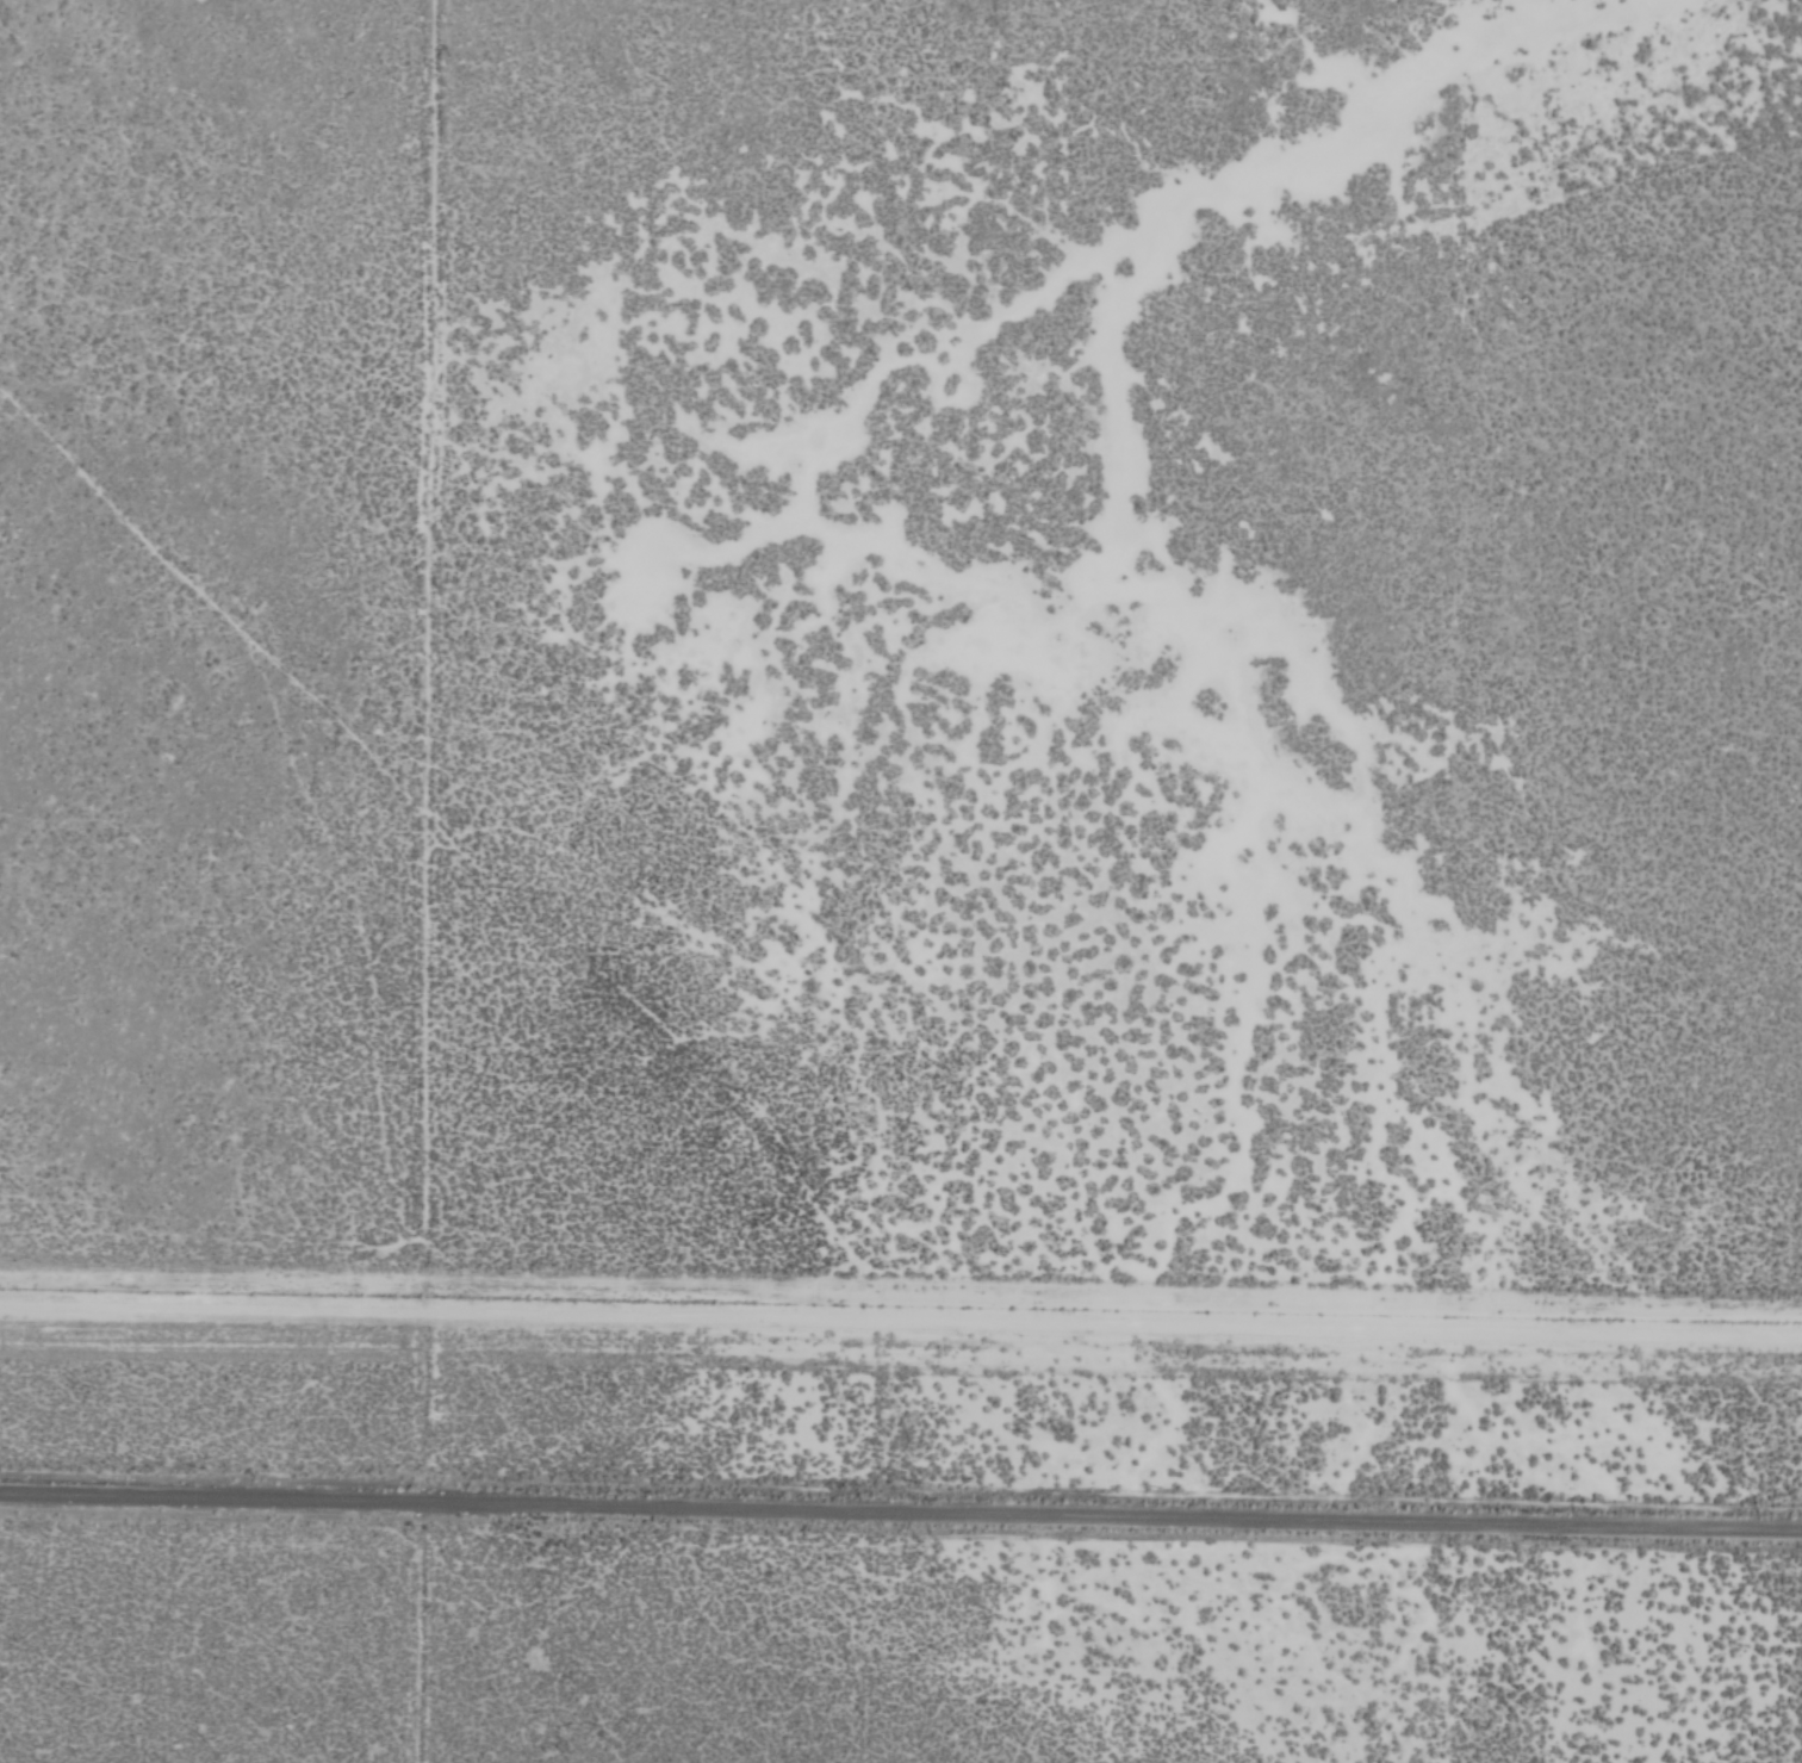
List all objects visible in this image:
road: (901, 1322)
road: (901, 1496)
airport: (888, 1542)

